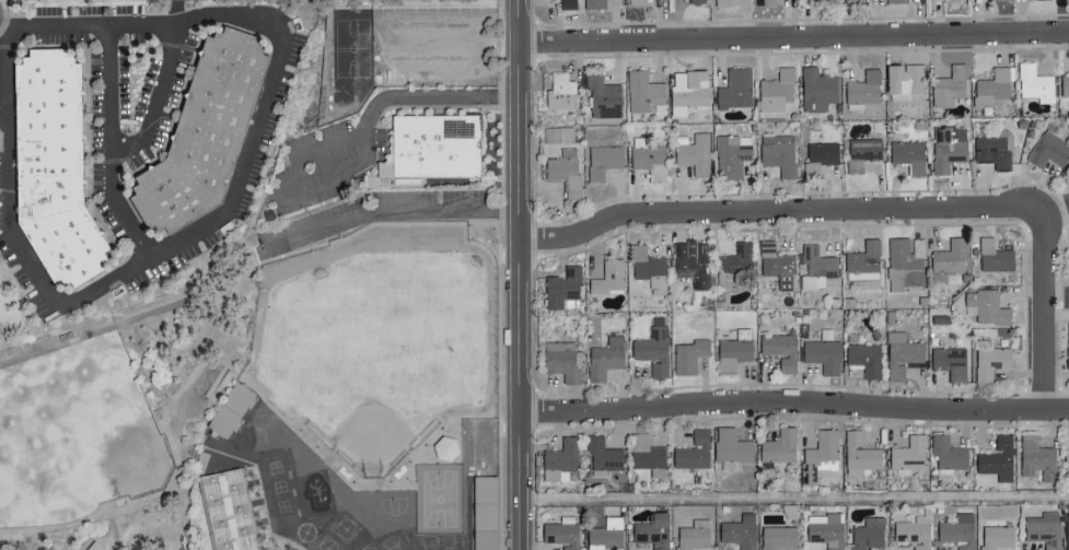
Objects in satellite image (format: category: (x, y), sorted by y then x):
building: (830, 0)
building: (1004, 0)
building: (636, 1)
building: (696, 1)
building: (851, 1)
building: (896, 1)
building: (722, 2)
building: (765, 2)
building: (594, 3)
building: (567, 4)
road: (179, 11)
road: (520, 21)
road: (8, 25)
road: (794, 39)
building: (904, 79)
building: (1034, 83)
building: (1065, 84)
building: (948, 86)
building: (991, 86)
building: (735, 89)
building: (815, 89)
building: (863, 89)
building: (687, 90)
building: (561, 91)
building: (776, 91)
building: (643, 92)
building: (604, 95)
road: (390, 96)
road: (156, 101)
building: (556, 133)
building: (206, 136)
road: (112, 147)
building: (946, 148)
building: (994, 149)
building: (1049, 149)
building: (442, 151)
building: (694, 152)
building: (861, 152)
building: (778, 153)
building: (907, 154)
building: (732, 155)
building: (818, 156)
building: (603, 160)
building: (649, 161)
building: (56, 169)
building: (563, 171)
road: (330, 175)
building: (1068, 189)
road: (769, 210)
road: (391, 213)
parking lot: (379, 218)
road: (218, 222)
building: (992, 256)
building: (949, 260)
building: (863, 261)
building: (690, 262)
building: (905, 262)
building: (776, 265)
building: (734, 266)
building: (816, 266)
building: (647, 268)
building: (607, 277)
building: (562, 289)
road: (521, 295)
road: (1044, 303)
building: (985, 306)
building: (651, 350)
building: (779, 350)
building: (733, 351)
building: (822, 354)
building: (900, 354)
building: (688, 355)
building: (604, 358)
building: (863, 358)
building: (1067, 358)
building: (563, 361)
building: (949, 362)
building: (989, 362)
road: (794, 401)
building: (226, 408)
park: (118, 414)
building: (237, 420)
road: (173, 443)
park: (96, 445)
building: (778, 446)
building: (443, 447)
building: (729, 448)
building: (692, 450)
building: (858, 454)
building: (818, 455)
building: (907, 455)
building: (601, 456)
building: (646, 456)
building: (997, 458)
building: (1035, 459)
building: (558, 460)
building: (1066, 461)
park: (10, 481)
road: (794, 498)
building: (234, 514)
road: (184, 515)
building: (490, 516)
building: (651, 530)
building: (914, 530)
building: (957, 530)
building: (1043, 530)
road: (117, 531)
building: (737, 531)
building: (604, 534)
building: (865, 534)
building: (693, 535)
building: (776, 537)
building: (996, 537)

